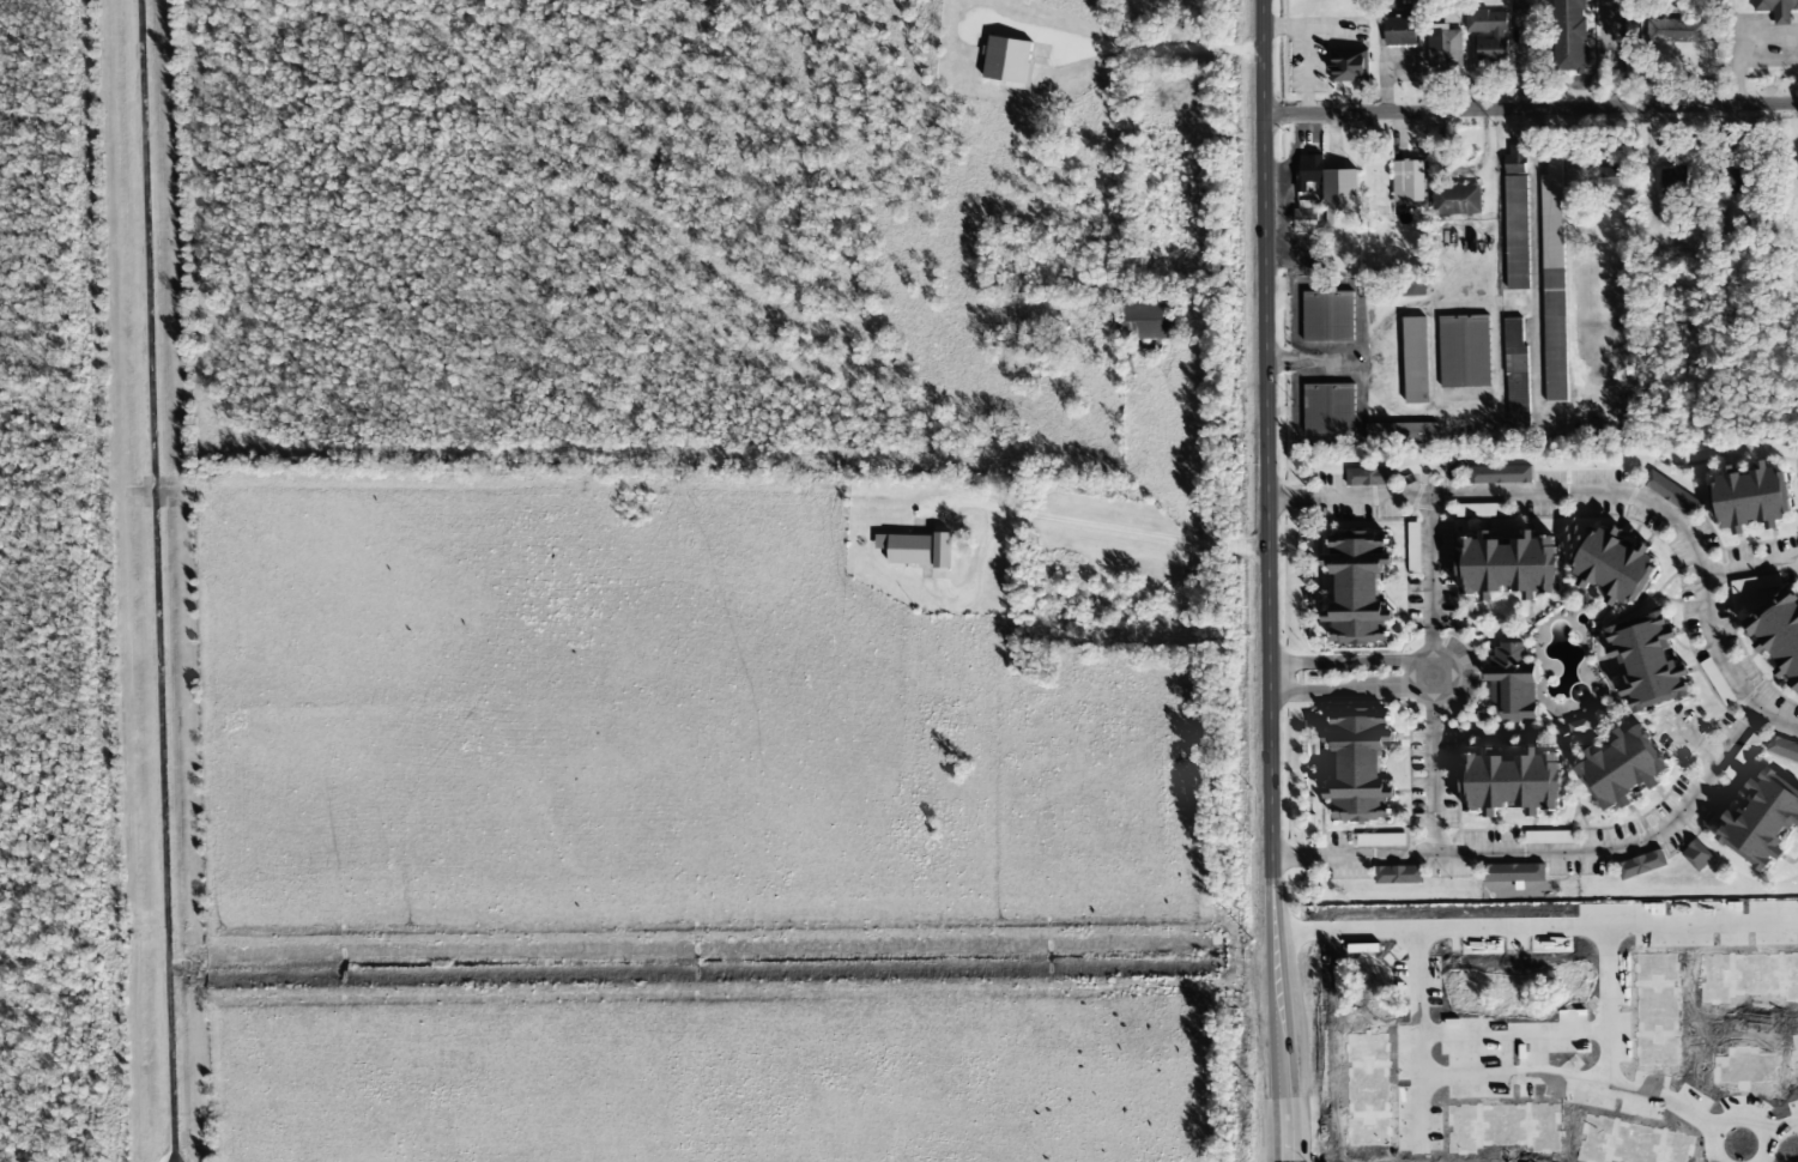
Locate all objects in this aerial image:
building: (1778, 8)
building: (1400, 30)
building: (1676, 30)
building: (1499, 35)
building: (1572, 35)
building: (1631, 37)
building: (1445, 48)
building: (1010, 62)
building: (1348, 65)
road: (1530, 109)
building: (1407, 175)
building: (1741, 176)
building: (1606, 177)
building: (1675, 180)
building: (1327, 181)
building: (1457, 199)
building: (1651, 214)
building: (1517, 217)
building: (1306, 218)
road: (1264, 232)
building: (1394, 286)
building: (1554, 289)
building: (1148, 315)
building: (1328, 316)
building: (1465, 351)
building: (1415, 359)
building: (1517, 375)
building: (1330, 408)
building: (1397, 431)
building: (1500, 474)
building: (1370, 476)
building: (1672, 492)
road: (1604, 496)
building: (1754, 496)
building: (1481, 509)
road: (1063, 526)
building: (907, 547)
building: (942, 550)
building: (1509, 563)
building: (1617, 563)
building: (1360, 587)
building: (1779, 631)
road: (1349, 659)
building: (1651, 660)
road: (1430, 673)
building: (1512, 682)
road: (1350, 688)
building: (1580, 726)
building: (1782, 748)
building: (1361, 764)
building: (1626, 765)
building: (1513, 780)
road: (1270, 812)
building: (1766, 821)
building: (1380, 840)
road: (1544, 852)
building: (1697, 855)
building: (1641, 864)
building: (1513, 872)
building: (1399, 874)

